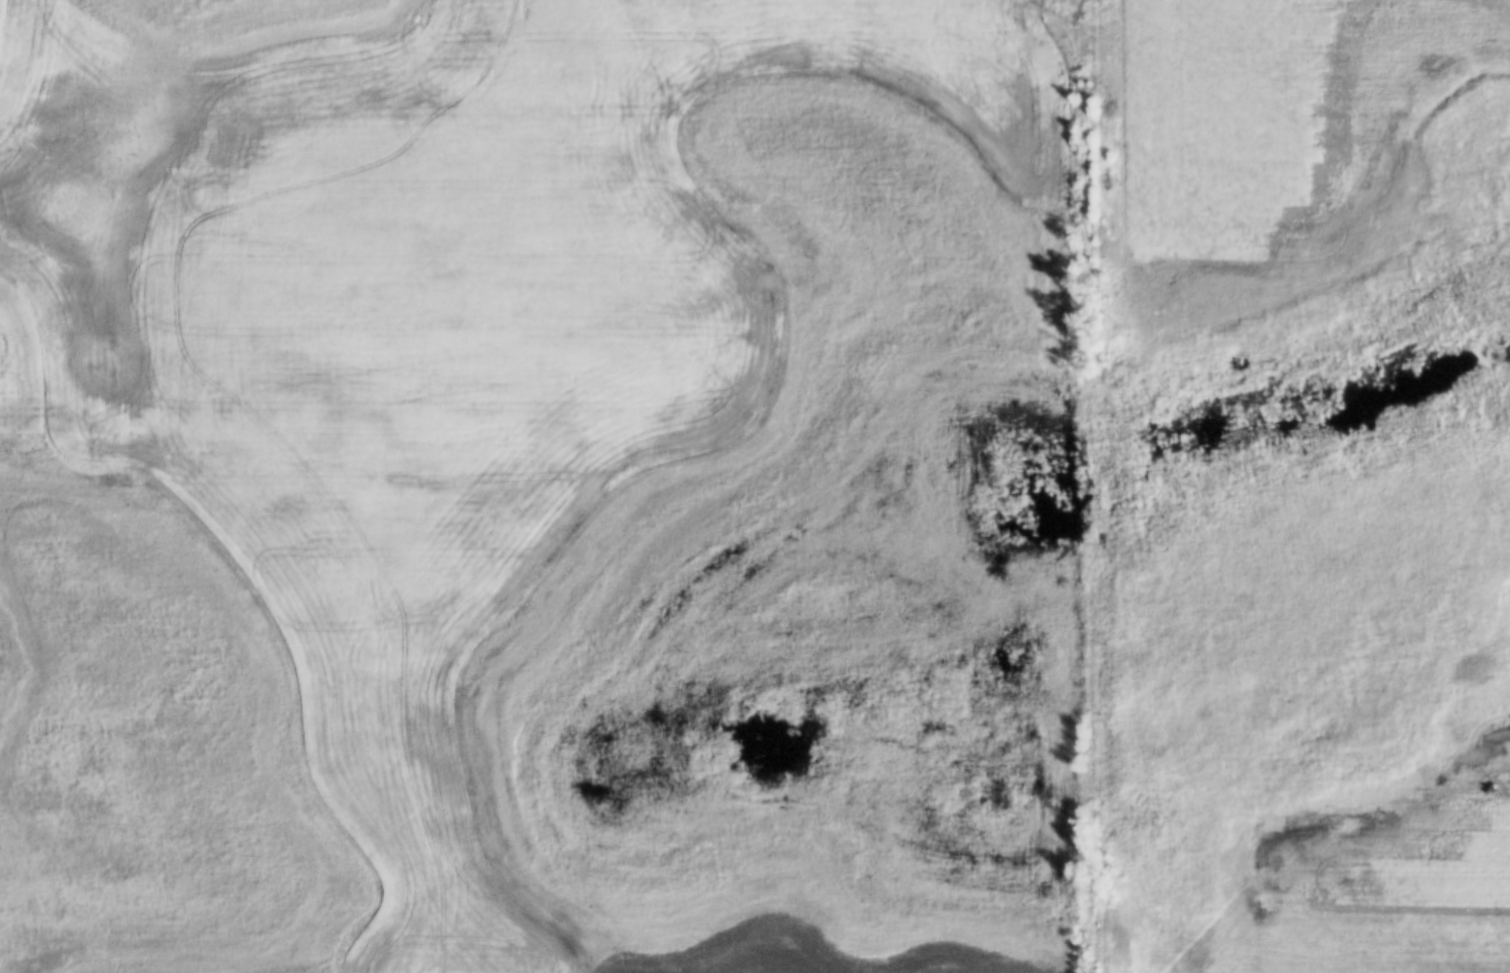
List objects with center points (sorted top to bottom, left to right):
power tower: (1057, 10)

